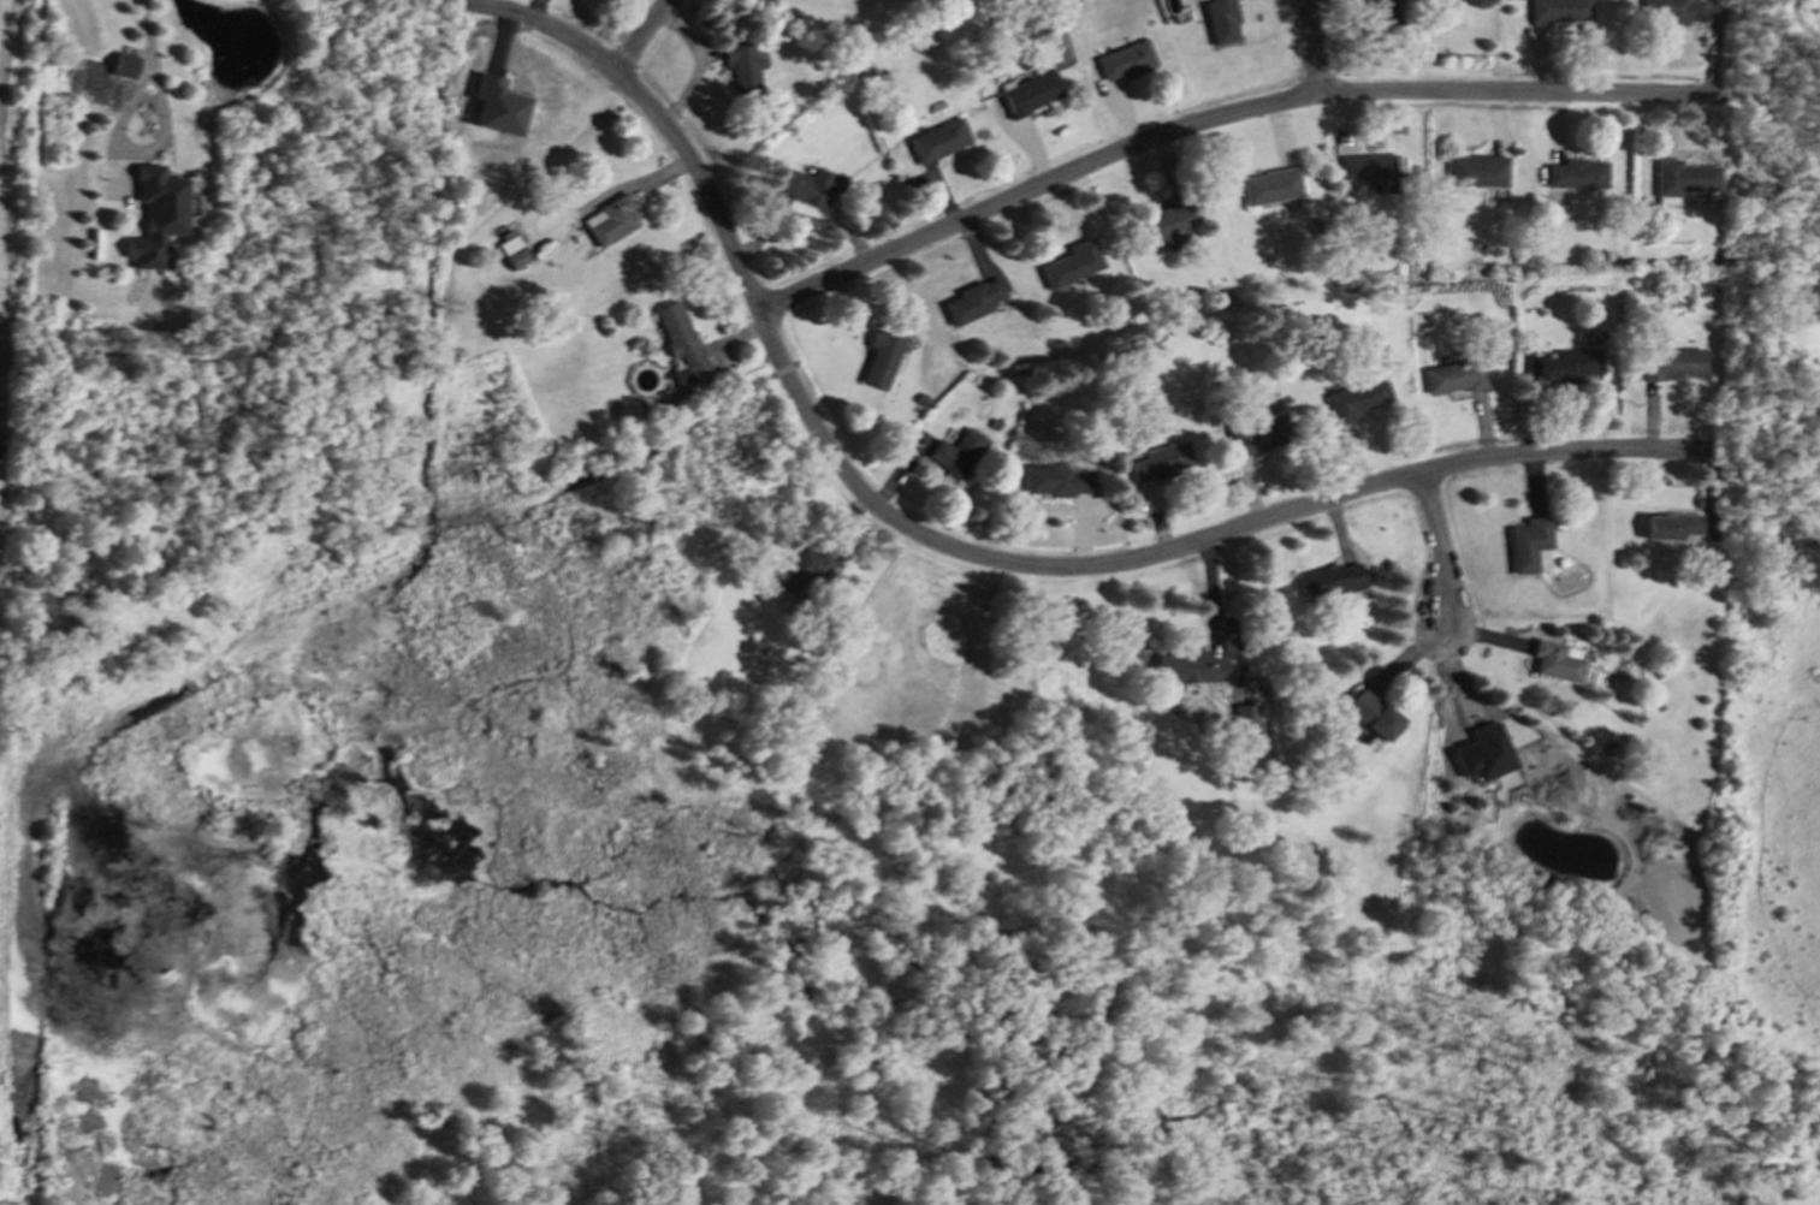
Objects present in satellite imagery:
road: (532, 10)
building: (1388, 10)
building: (1558, 11)
building: (1672, 11)
building: (1220, 20)
road: (148, 28)
road: (640, 36)
road: (1314, 47)
building: (1124, 60)
building: (124, 64)
building: (740, 65)
building: (1030, 93)
building: (497, 105)
road: (1222, 118)
building: (937, 140)
road: (134, 149)
building: (1370, 170)
building: (1476, 171)
building: (1576, 173)
building: (1682, 178)
building: (807, 185)
building: (1270, 185)
building: (155, 215)
building: (609, 220)
building: (1168, 221)
building: (512, 251)
building: (1071, 262)
building: (972, 301)
building: (681, 344)
building: (881, 357)
building: (1671, 363)
building: (1567, 364)
building: (1453, 376)
building: (1354, 399)
building: (1257, 431)
building: (958, 452)
building: (1161, 461)
building: (1056, 479)
building: (1670, 526)
building: (1526, 542)
road: (952, 550)
road: (1440, 552)
building: (800, 570)
building: (1329, 580)
building: (1554, 660)
building: (1186, 667)
building: (1370, 714)
building: (1244, 718)
building: (1482, 752)

